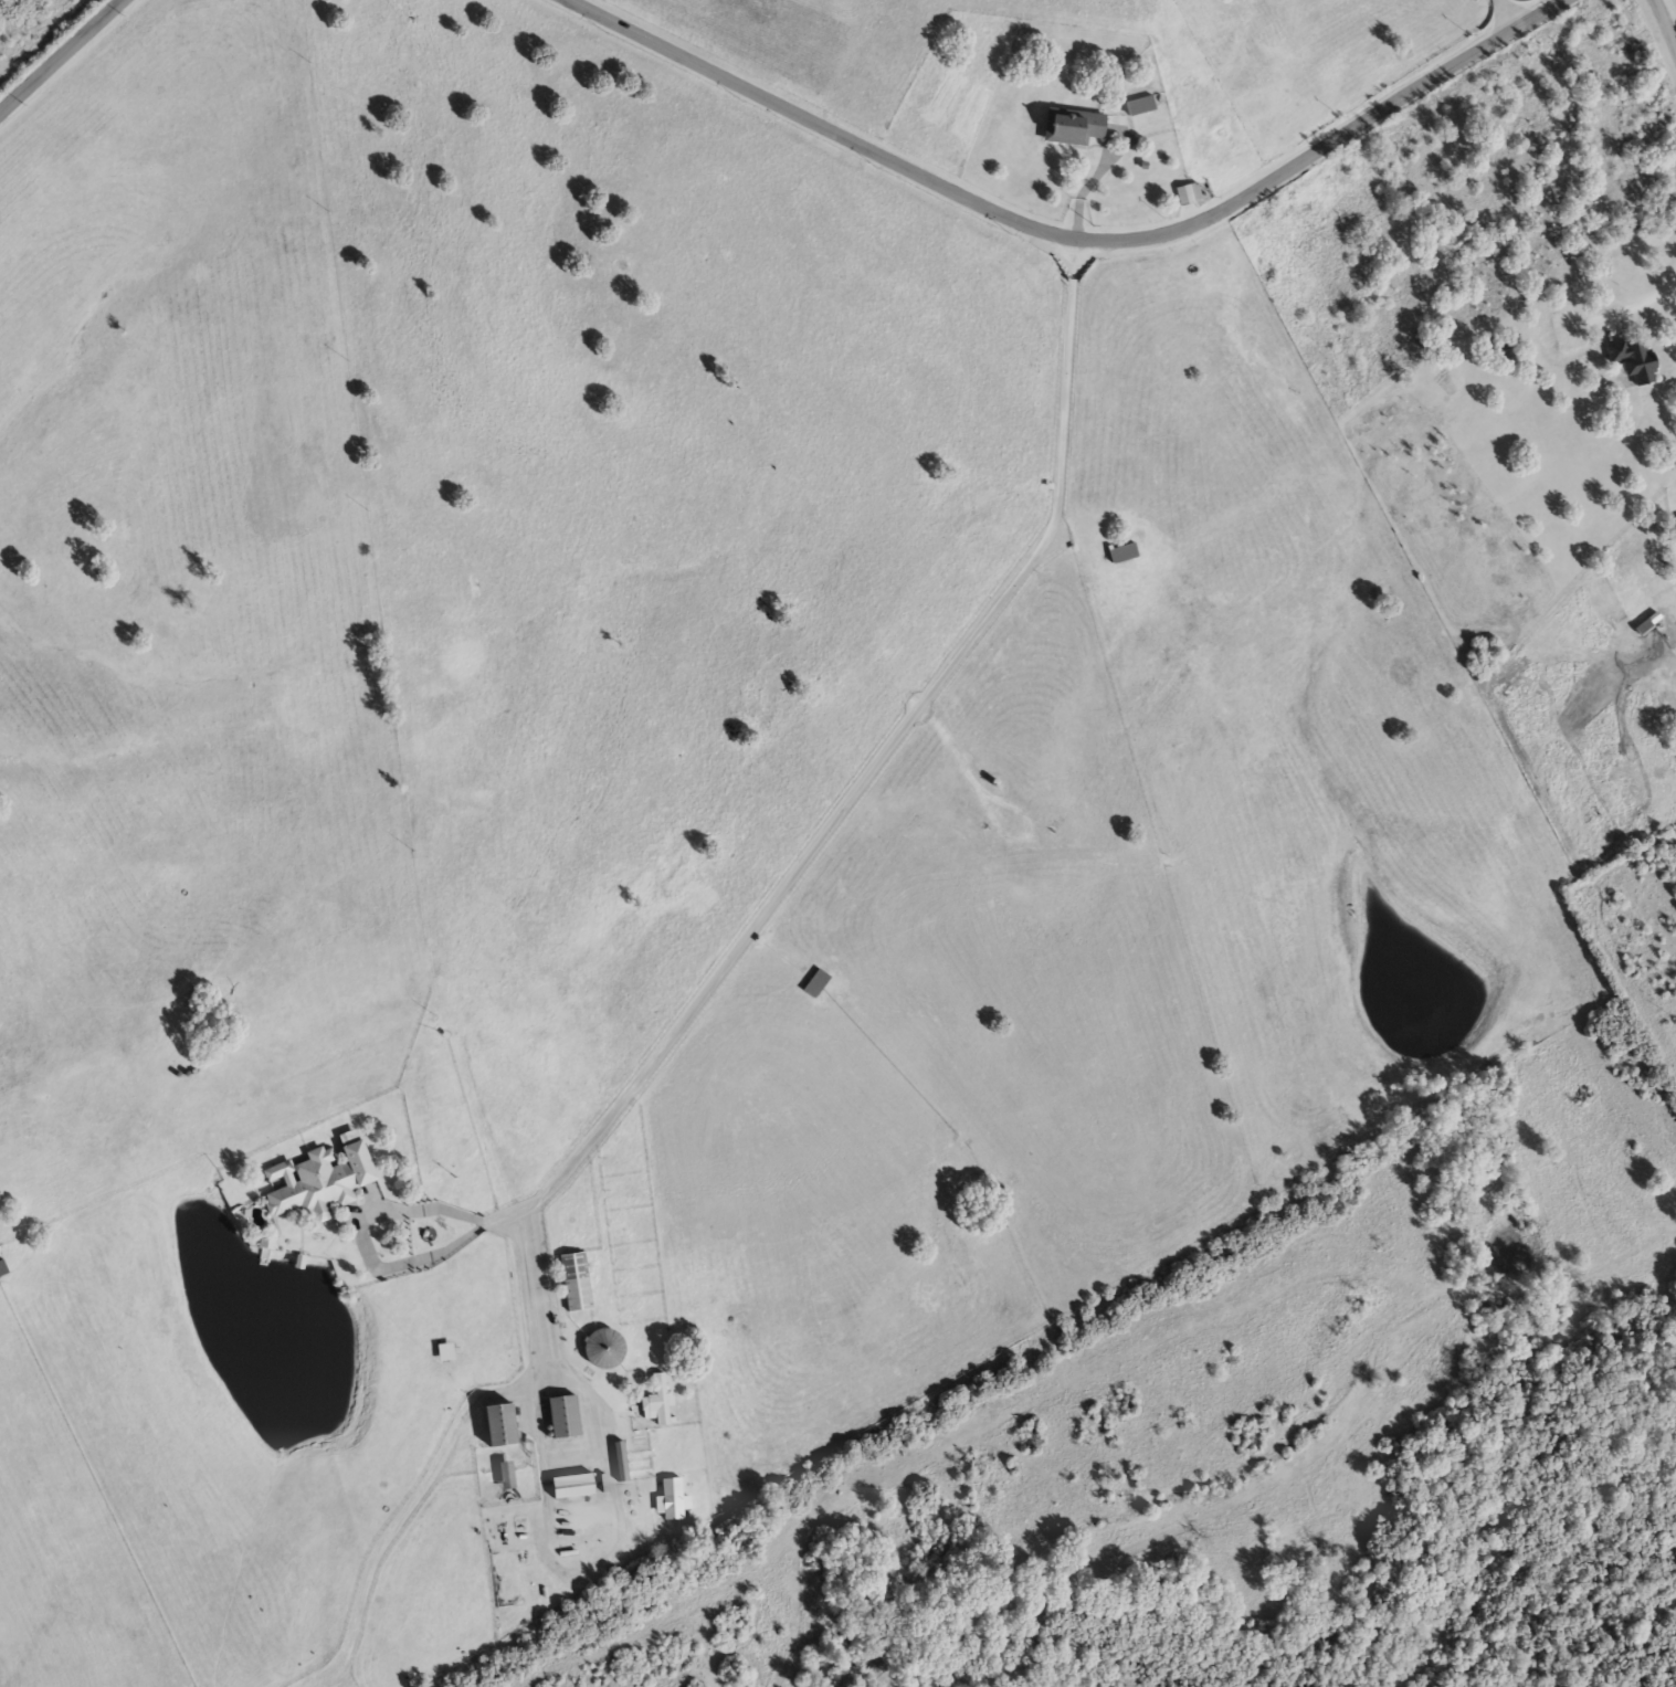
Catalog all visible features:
road: (1508, 13)
road: (1664, 28)
road: (59, 56)
building: (1141, 107)
building: (1075, 128)
building: (1190, 196)
road: (1071, 234)
road: (1642, 306)
building: (1635, 365)
building: (1125, 555)
road: (952, 751)
road: (1027, 847)
building: (819, 984)
road: (708, 985)
building: (324, 1181)
road: (369, 1214)
road: (508, 1217)
building: (4, 1269)
building: (578, 1283)
building: (608, 1350)
building: (447, 1353)
building: (660, 1402)
building: (568, 1419)
building: (507, 1426)
building: (624, 1464)
building: (510, 1476)
building: (578, 1487)
road: (601, 1516)

